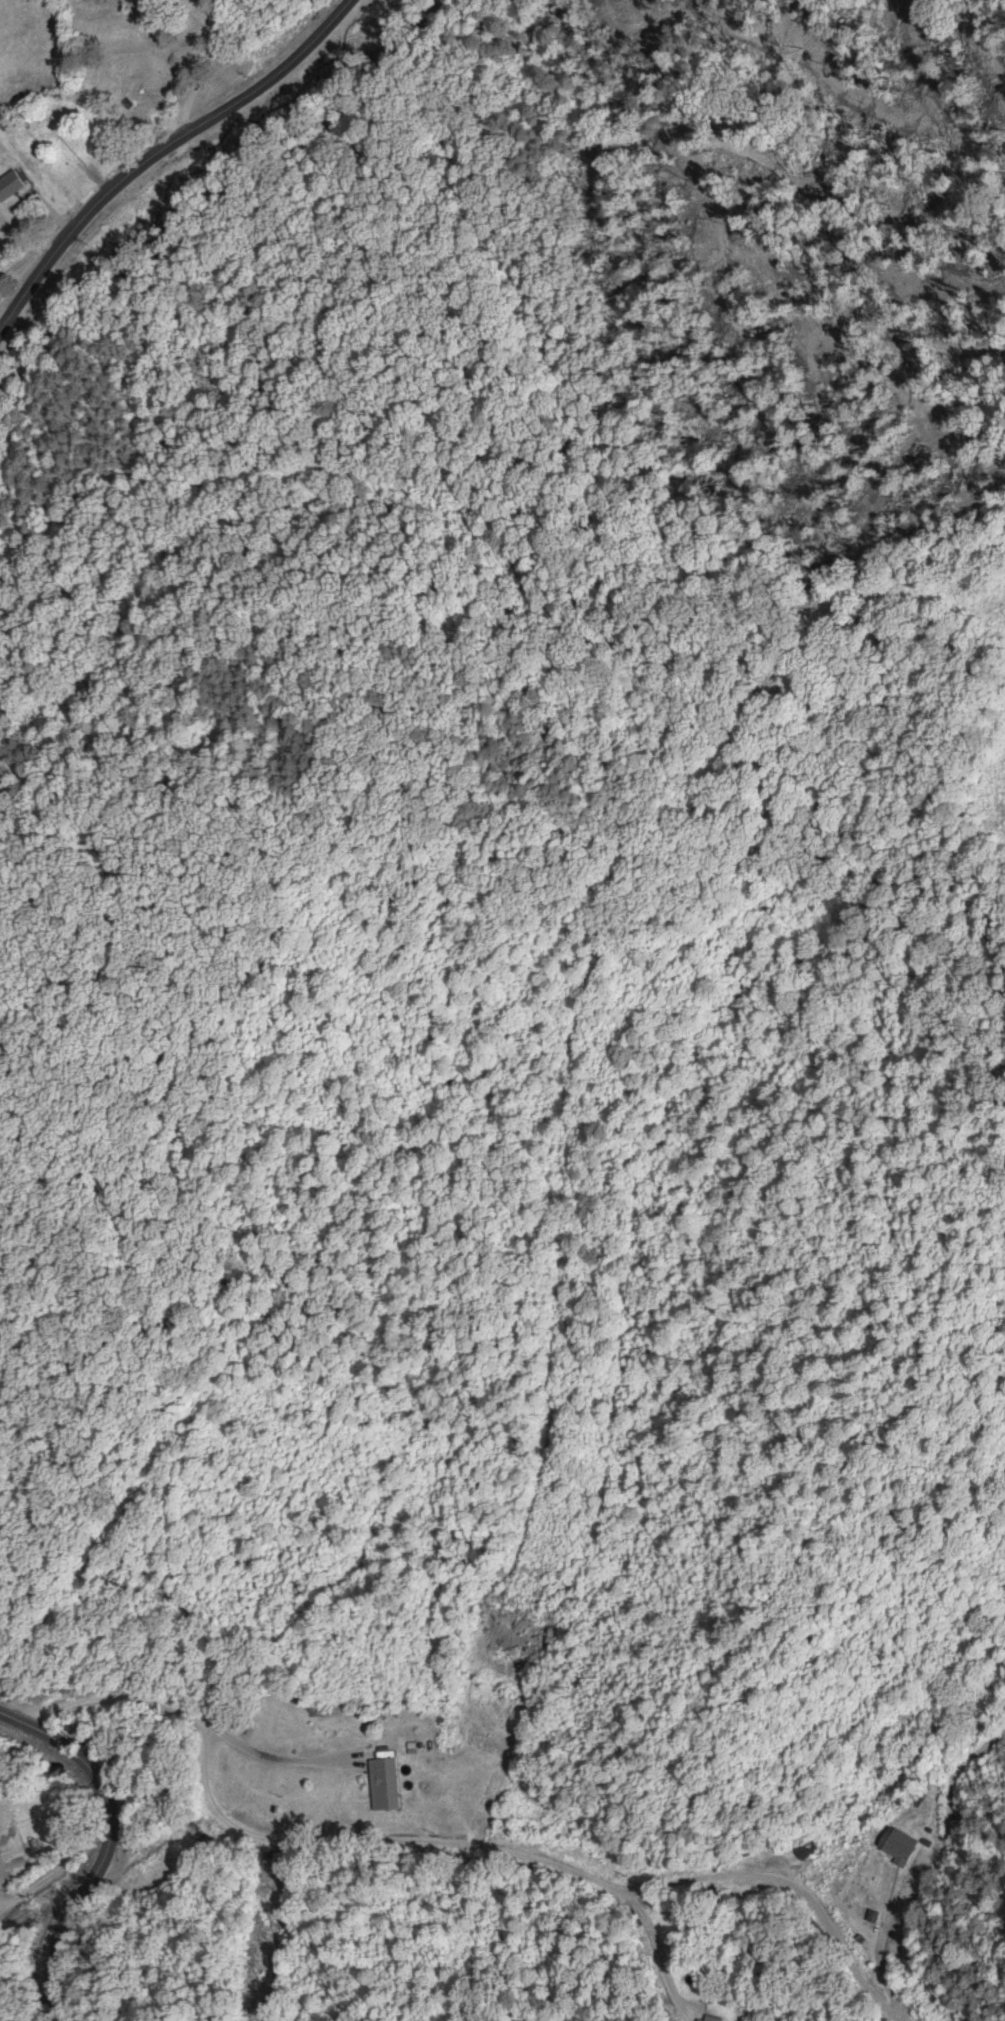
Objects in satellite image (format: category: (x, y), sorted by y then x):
road: (160, 152)
building: (15, 186)
building: (387, 1784)
building: (921, 1799)
road: (448, 1842)
road: (108, 1845)
building: (902, 1845)
road: (51, 1880)

